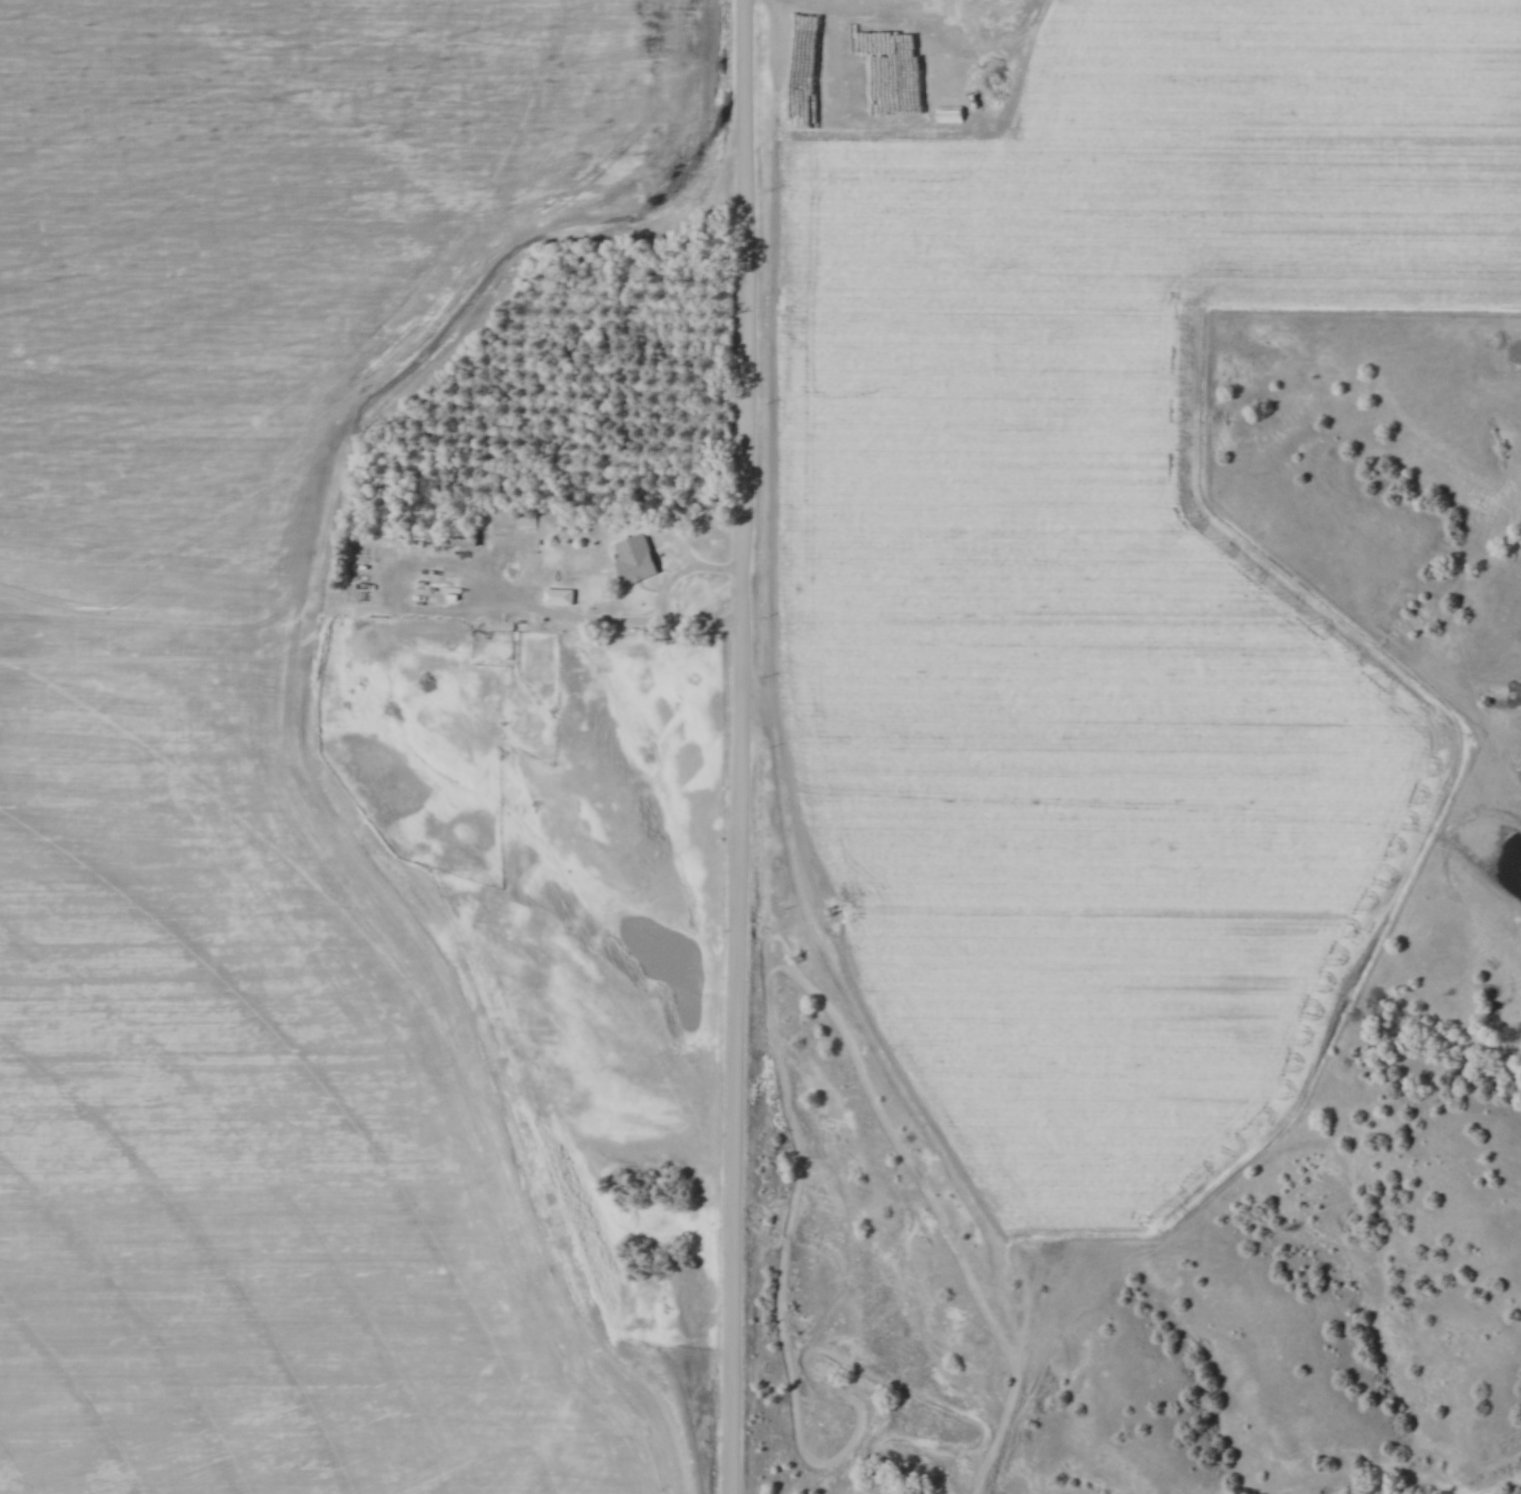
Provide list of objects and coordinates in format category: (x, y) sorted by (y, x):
building: (511, 518)
building: (458, 541)
building: (630, 559)
road: (665, 596)
building: (554, 597)
road: (741, 747)

